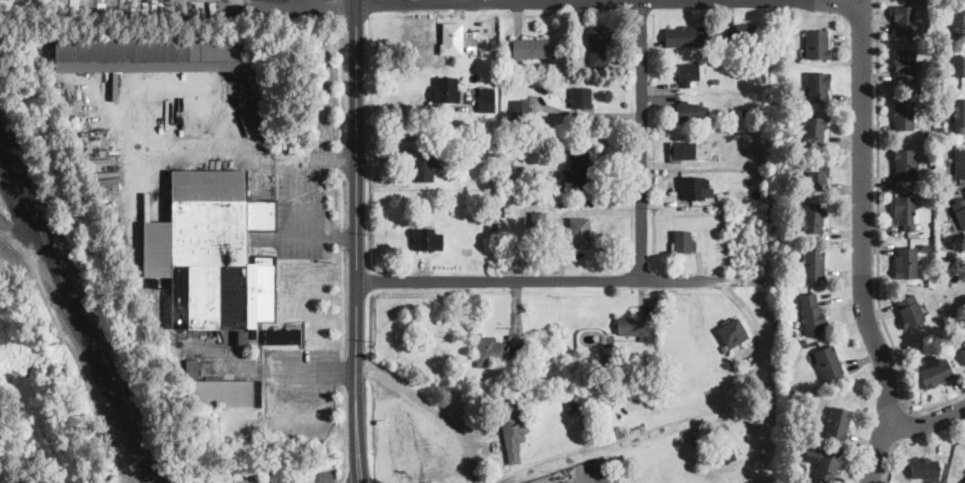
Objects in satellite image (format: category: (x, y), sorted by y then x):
road: (347, 0)
road: (609, 1)
road: (238, 3)
building: (903, 18)
building: (958, 20)
building: (747, 33)
building: (685, 34)
building: (451, 37)
building: (469, 37)
building: (817, 42)
building: (530, 46)
building: (598, 47)
building: (149, 51)
building: (958, 64)
building: (904, 65)
building: (688, 72)
building: (818, 85)
building: (445, 87)
building: (580, 96)
building: (485, 97)
building: (520, 109)
building: (692, 109)
building: (958, 113)
building: (903, 114)
road: (589, 115)
road: (357, 118)
building: (814, 129)
road: (641, 141)
building: (684, 149)
road: (331, 157)
building: (905, 163)
building: (959, 163)
building: (423, 169)
building: (577, 169)
building: (818, 174)
railway: (16, 181)
road: (862, 182)
building: (692, 187)
road: (304, 196)
parking lot: (305, 197)
building: (904, 210)
building: (959, 210)
building: (538, 217)
building: (814, 217)
building: (580, 229)
road: (330, 236)
building: (427, 237)
road: (878, 237)
building: (683, 240)
building: (212, 252)
building: (905, 261)
building: (813, 262)
road: (544, 280)
railway: (59, 300)
building: (909, 309)
railway: (75, 310)
building: (812, 312)
building: (631, 324)
building: (732, 330)
building: (245, 334)
building: (283, 334)
building: (498, 348)
building: (963, 353)
road: (356, 360)
building: (828, 360)
building: (192, 366)
road: (272, 371)
building: (935, 372)
building: (225, 392)
road: (433, 409)
road: (682, 420)
building: (837, 421)
road: (901, 422)
road: (886, 423)
road: (927, 427)
building: (512, 428)
building: (725, 452)
road: (889, 459)
building: (826, 463)
building: (924, 466)
parking lot: (324, 474)
parking lot: (494, 479)
parking lot: (269, 480)
building: (963, 481)

